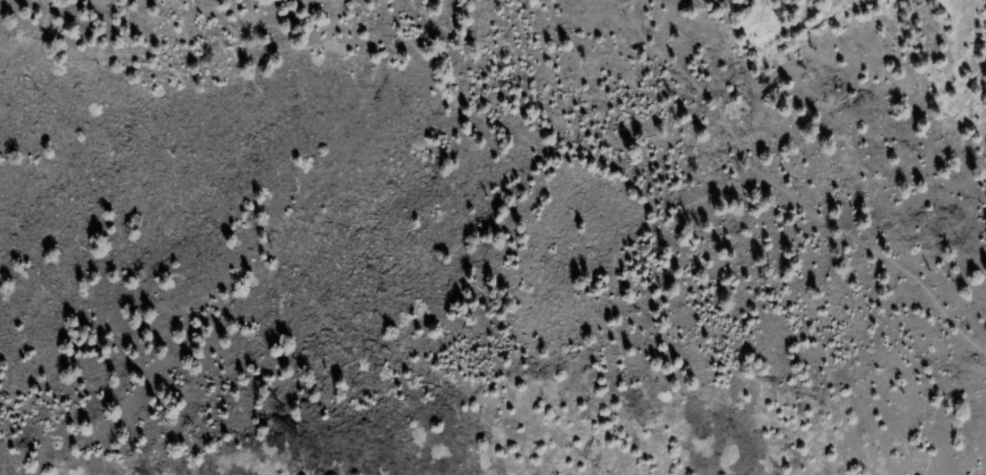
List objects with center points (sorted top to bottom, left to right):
road: (782, 194)

